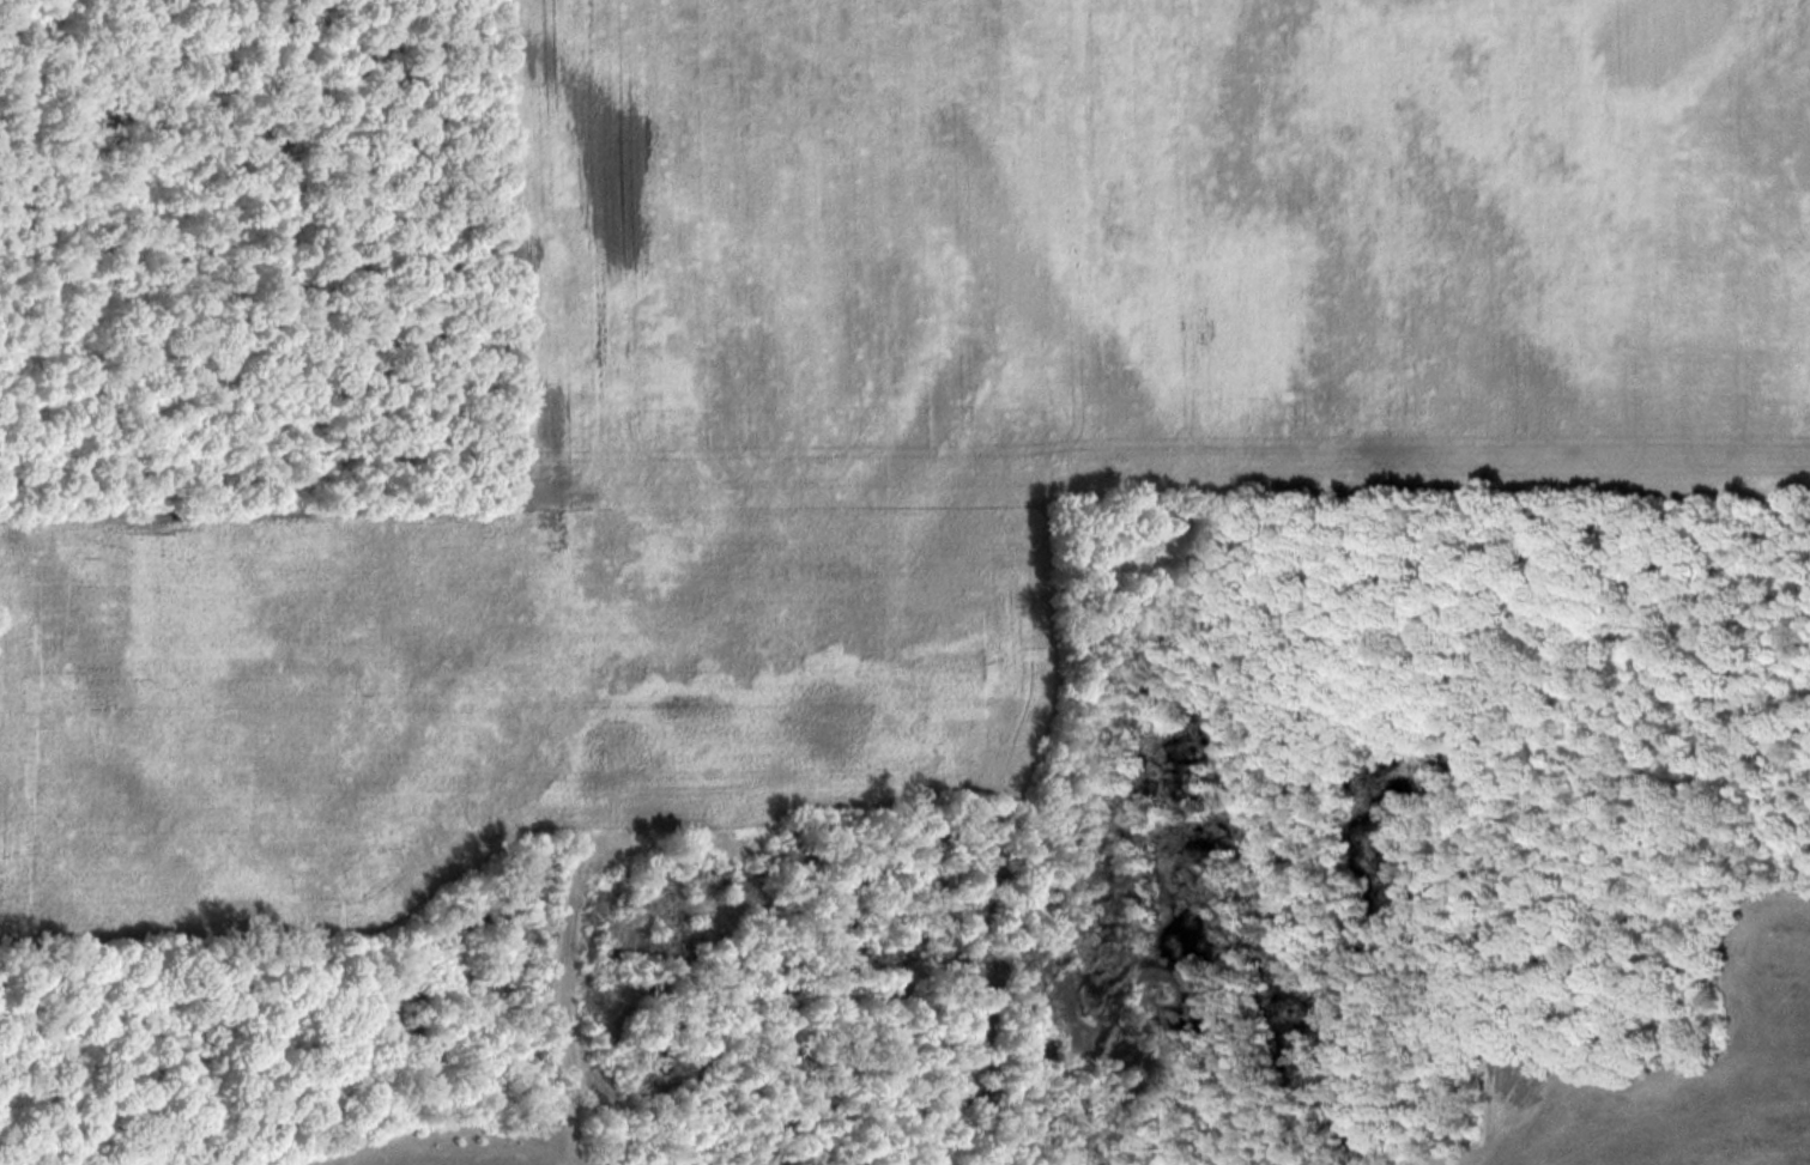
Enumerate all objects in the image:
road: (455, 1127)

